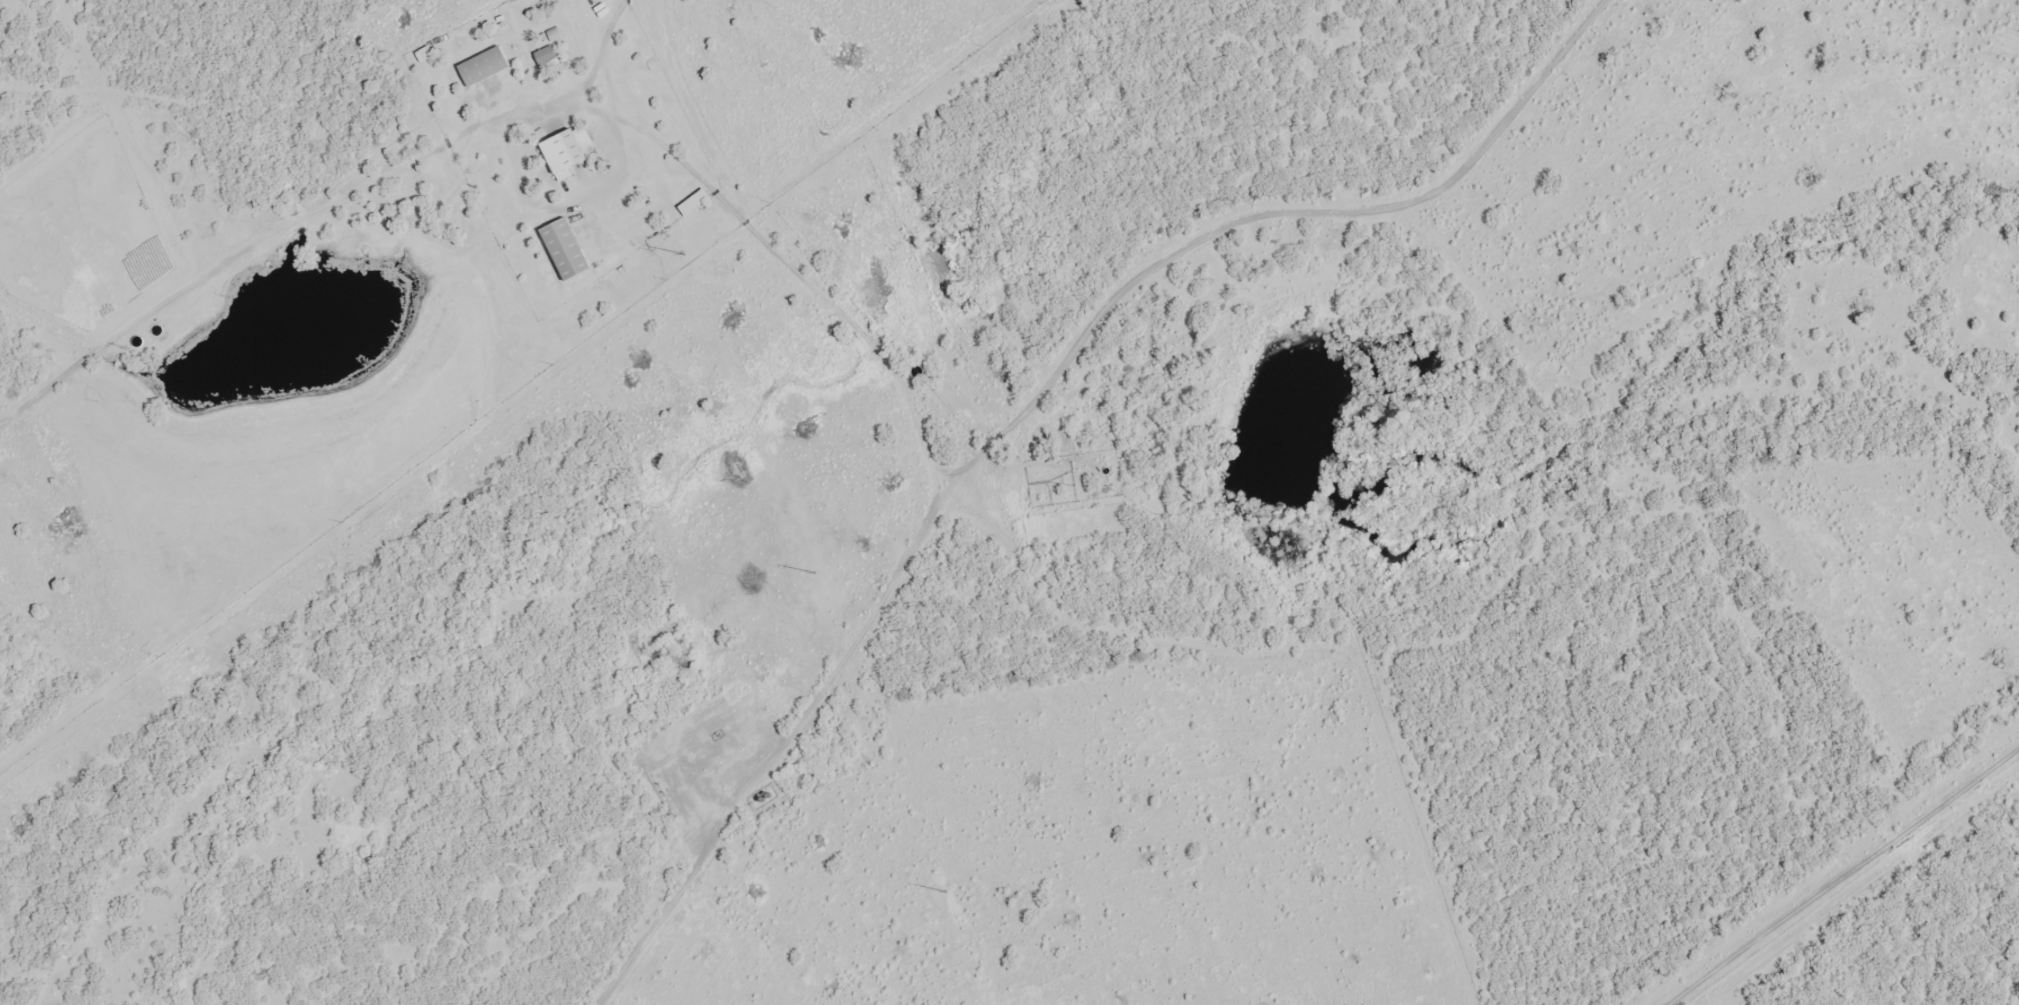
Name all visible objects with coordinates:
building: (483, 66)
building: (568, 149)
building: (565, 248)
power tower: (683, 255)
road: (1031, 404)
road: (542, 415)
power tower: (814, 574)
power tower: (944, 893)

